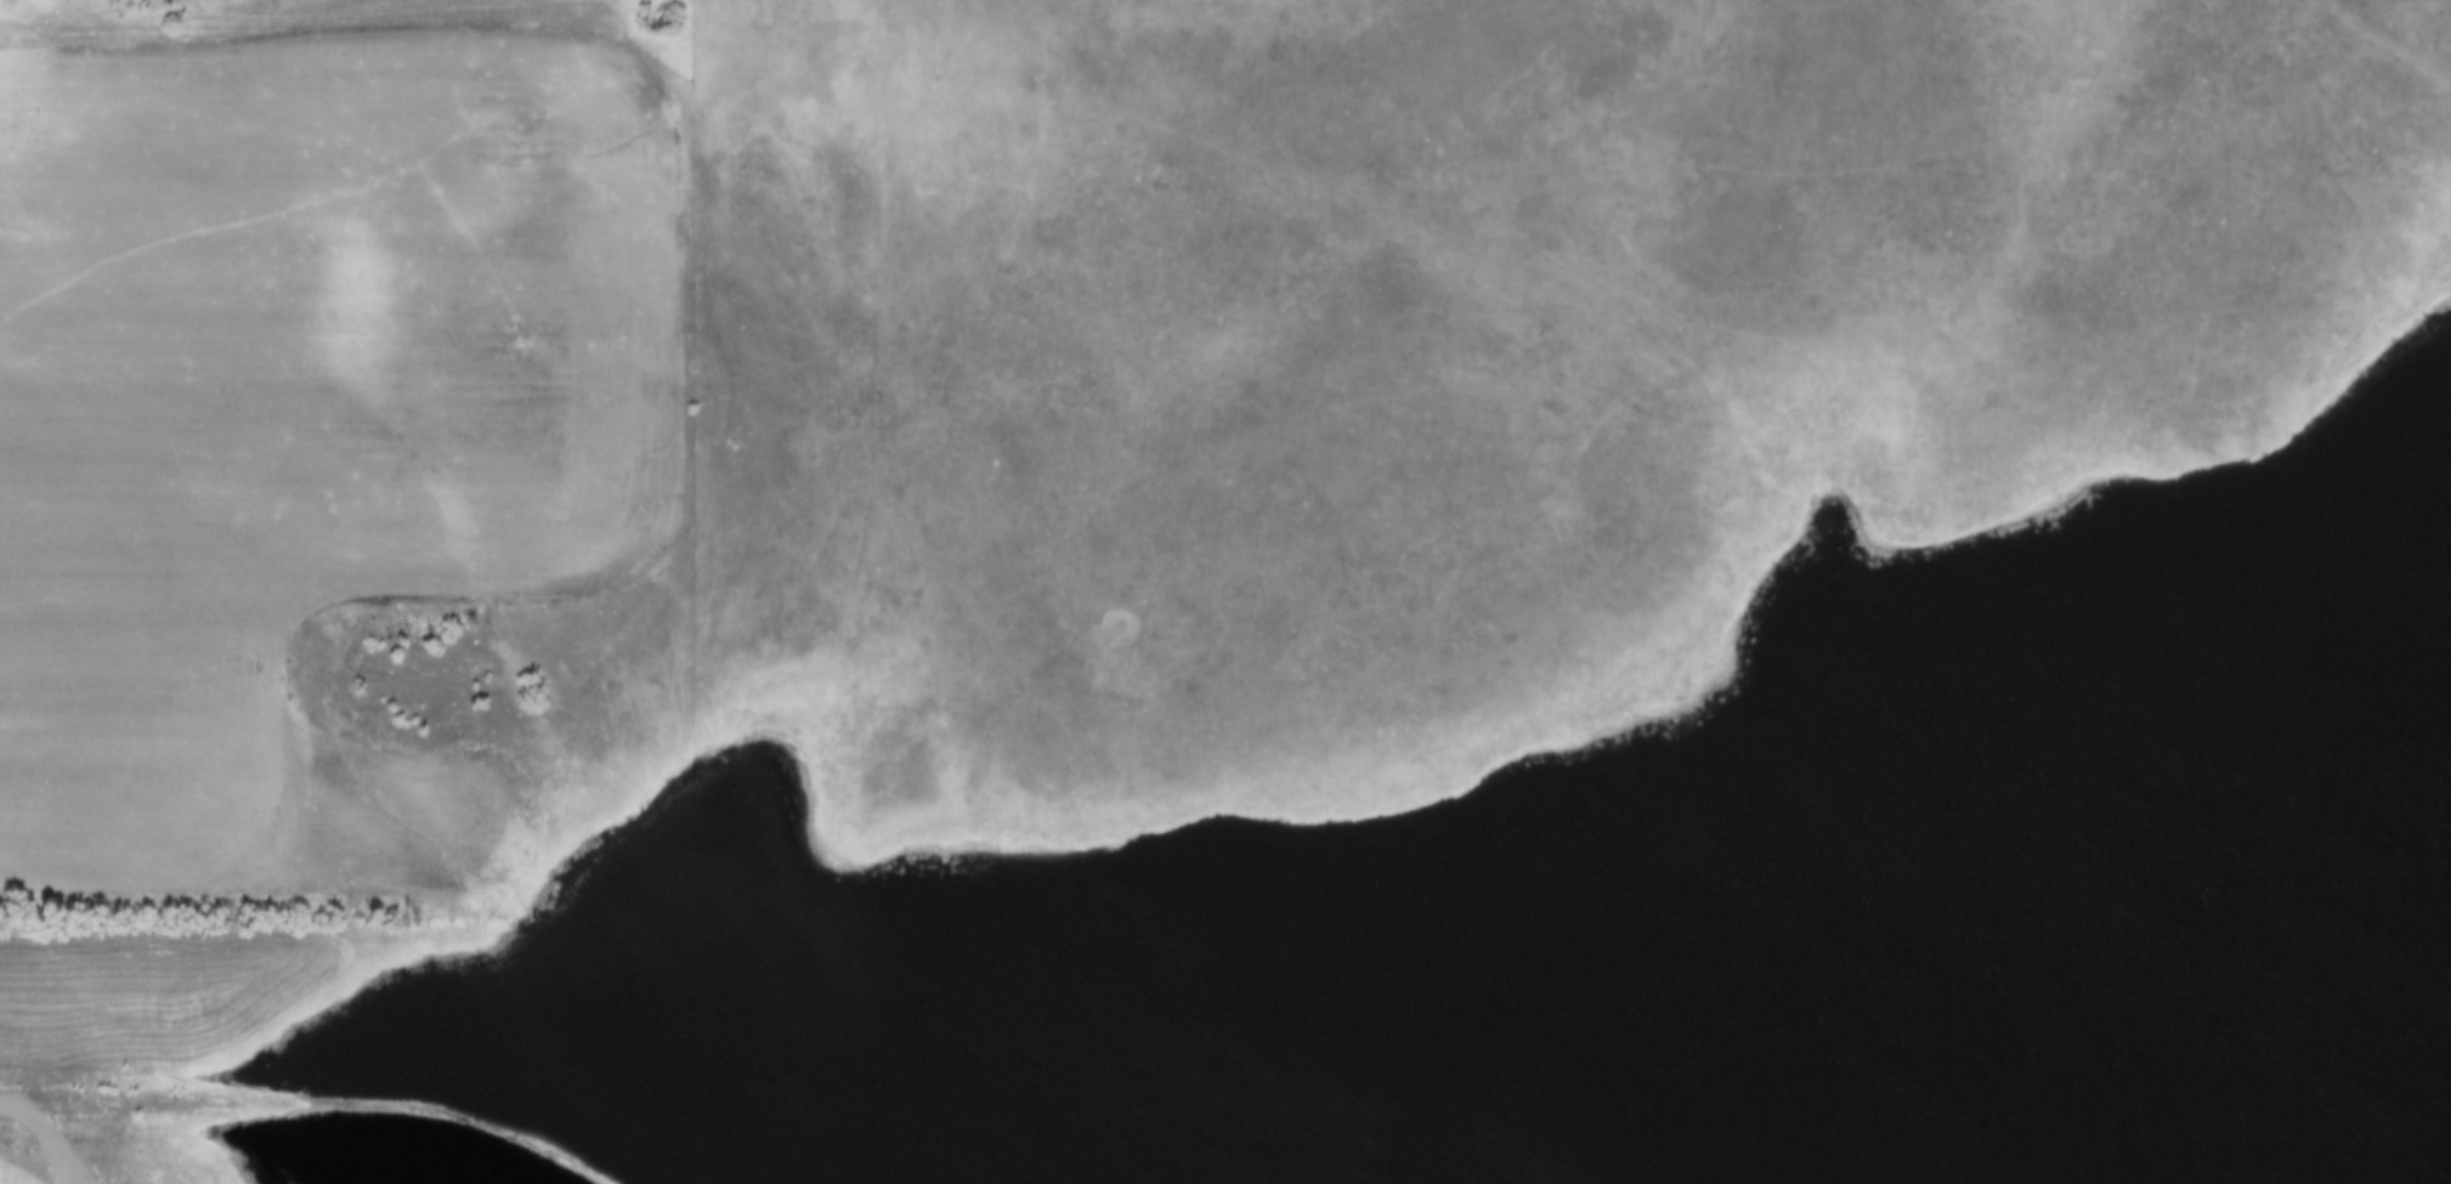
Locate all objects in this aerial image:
road: (5, 1103)
road: (35, 1144)

